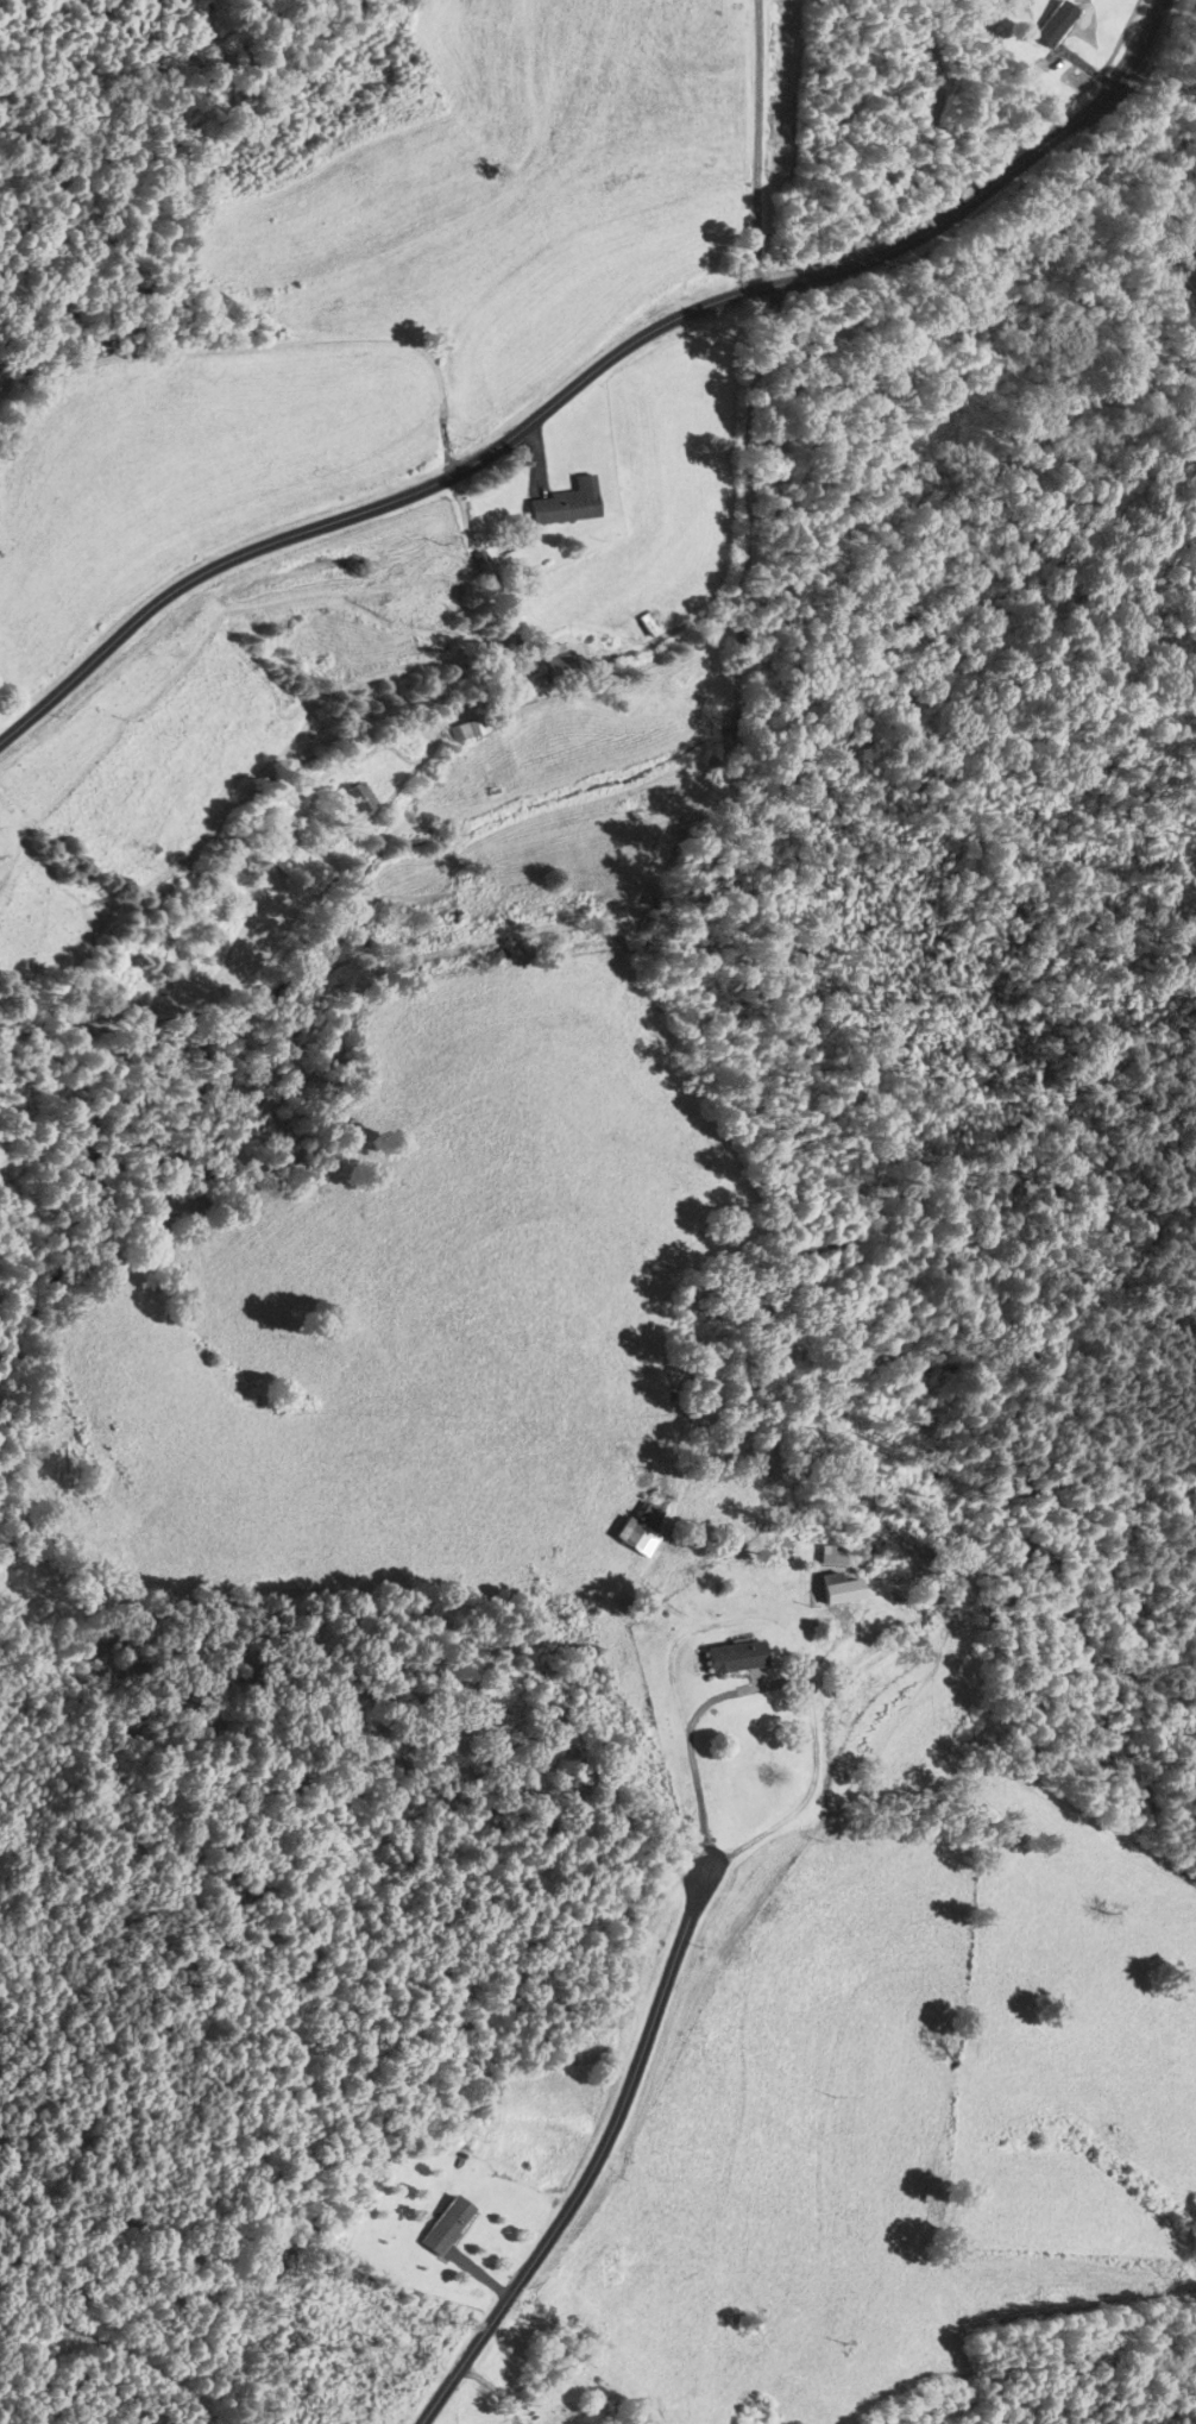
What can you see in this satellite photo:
building: (1053, 24)
road: (756, 144)
road: (919, 146)
river: (1191, 268)
road: (590, 372)
building: (565, 504)
building: (483, 569)
building: (649, 624)
road: (644, 639)
building: (554, 662)
building: (464, 731)
building: (354, 800)
building: (640, 1530)
building: (838, 1590)
building: (735, 1658)
road: (687, 1740)
road: (598, 2153)
building: (445, 2227)
building: (682, 2260)

